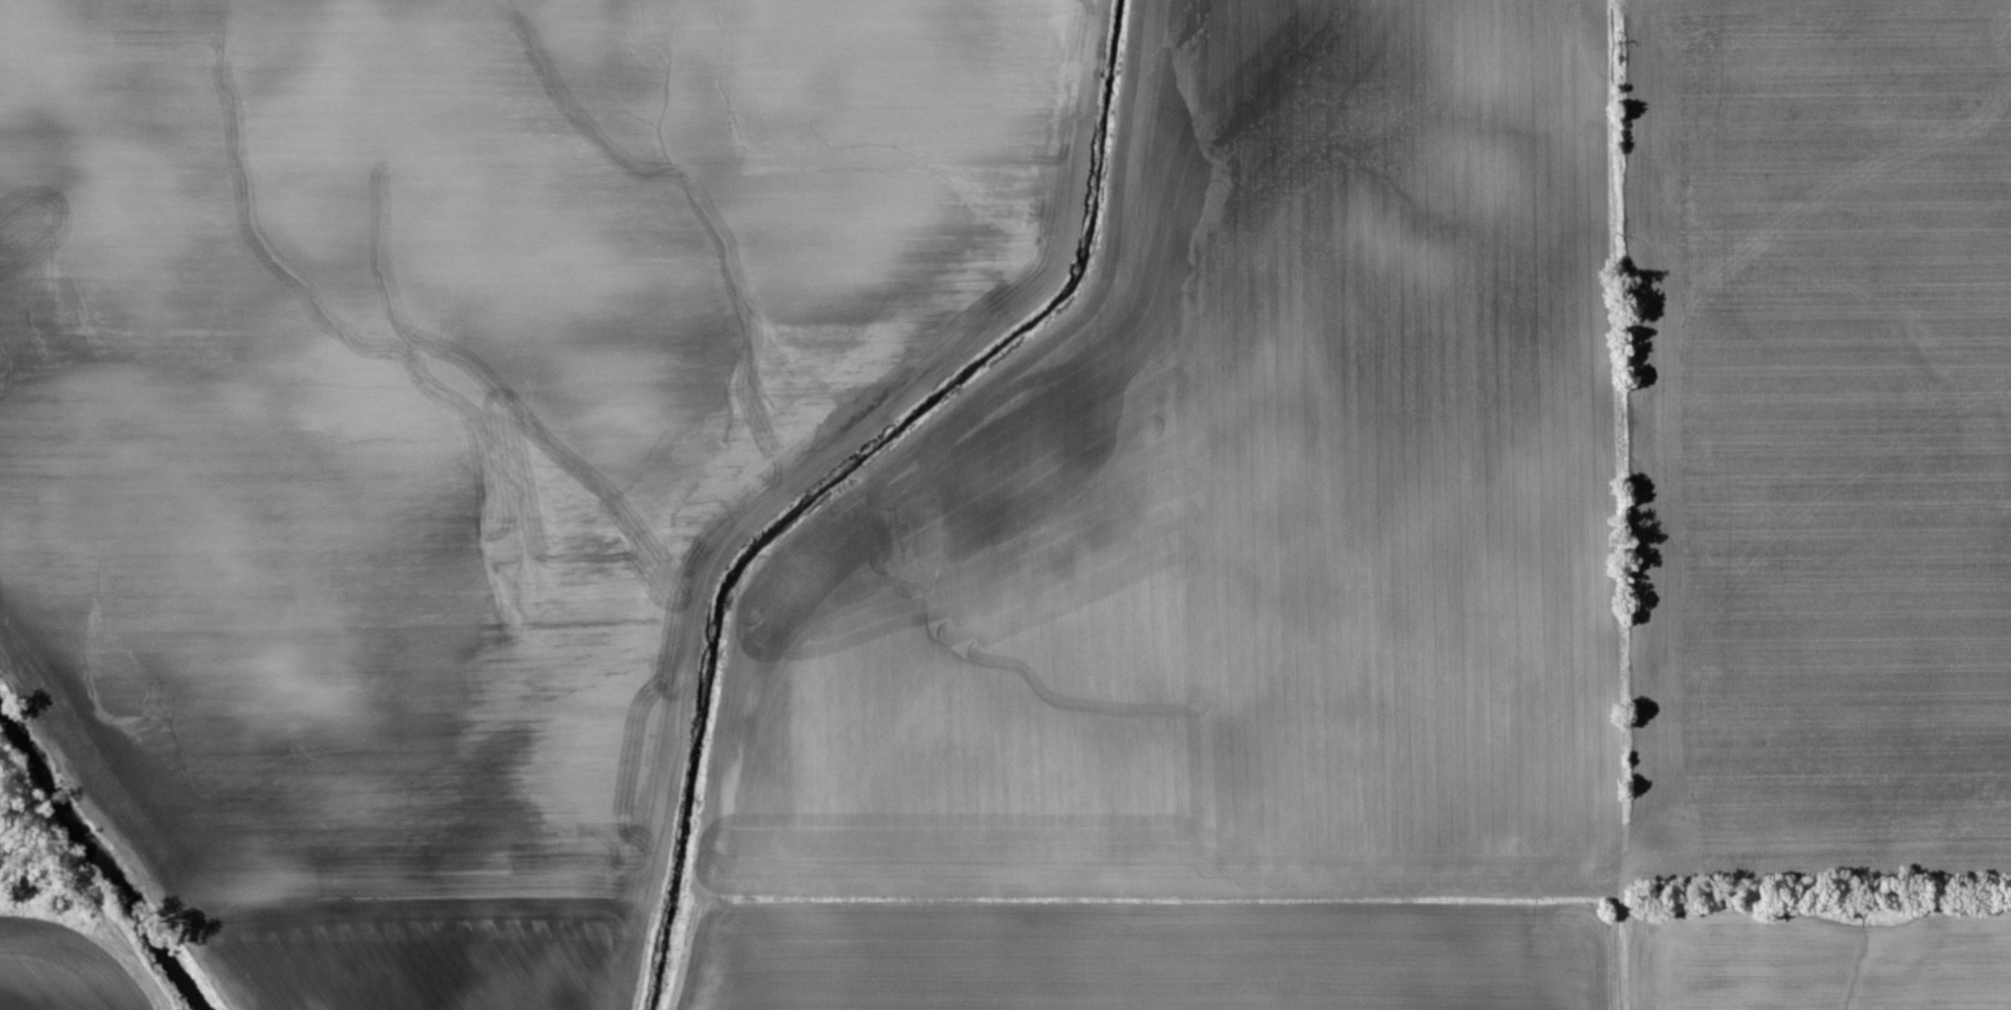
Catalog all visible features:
road: (1610, 505)

